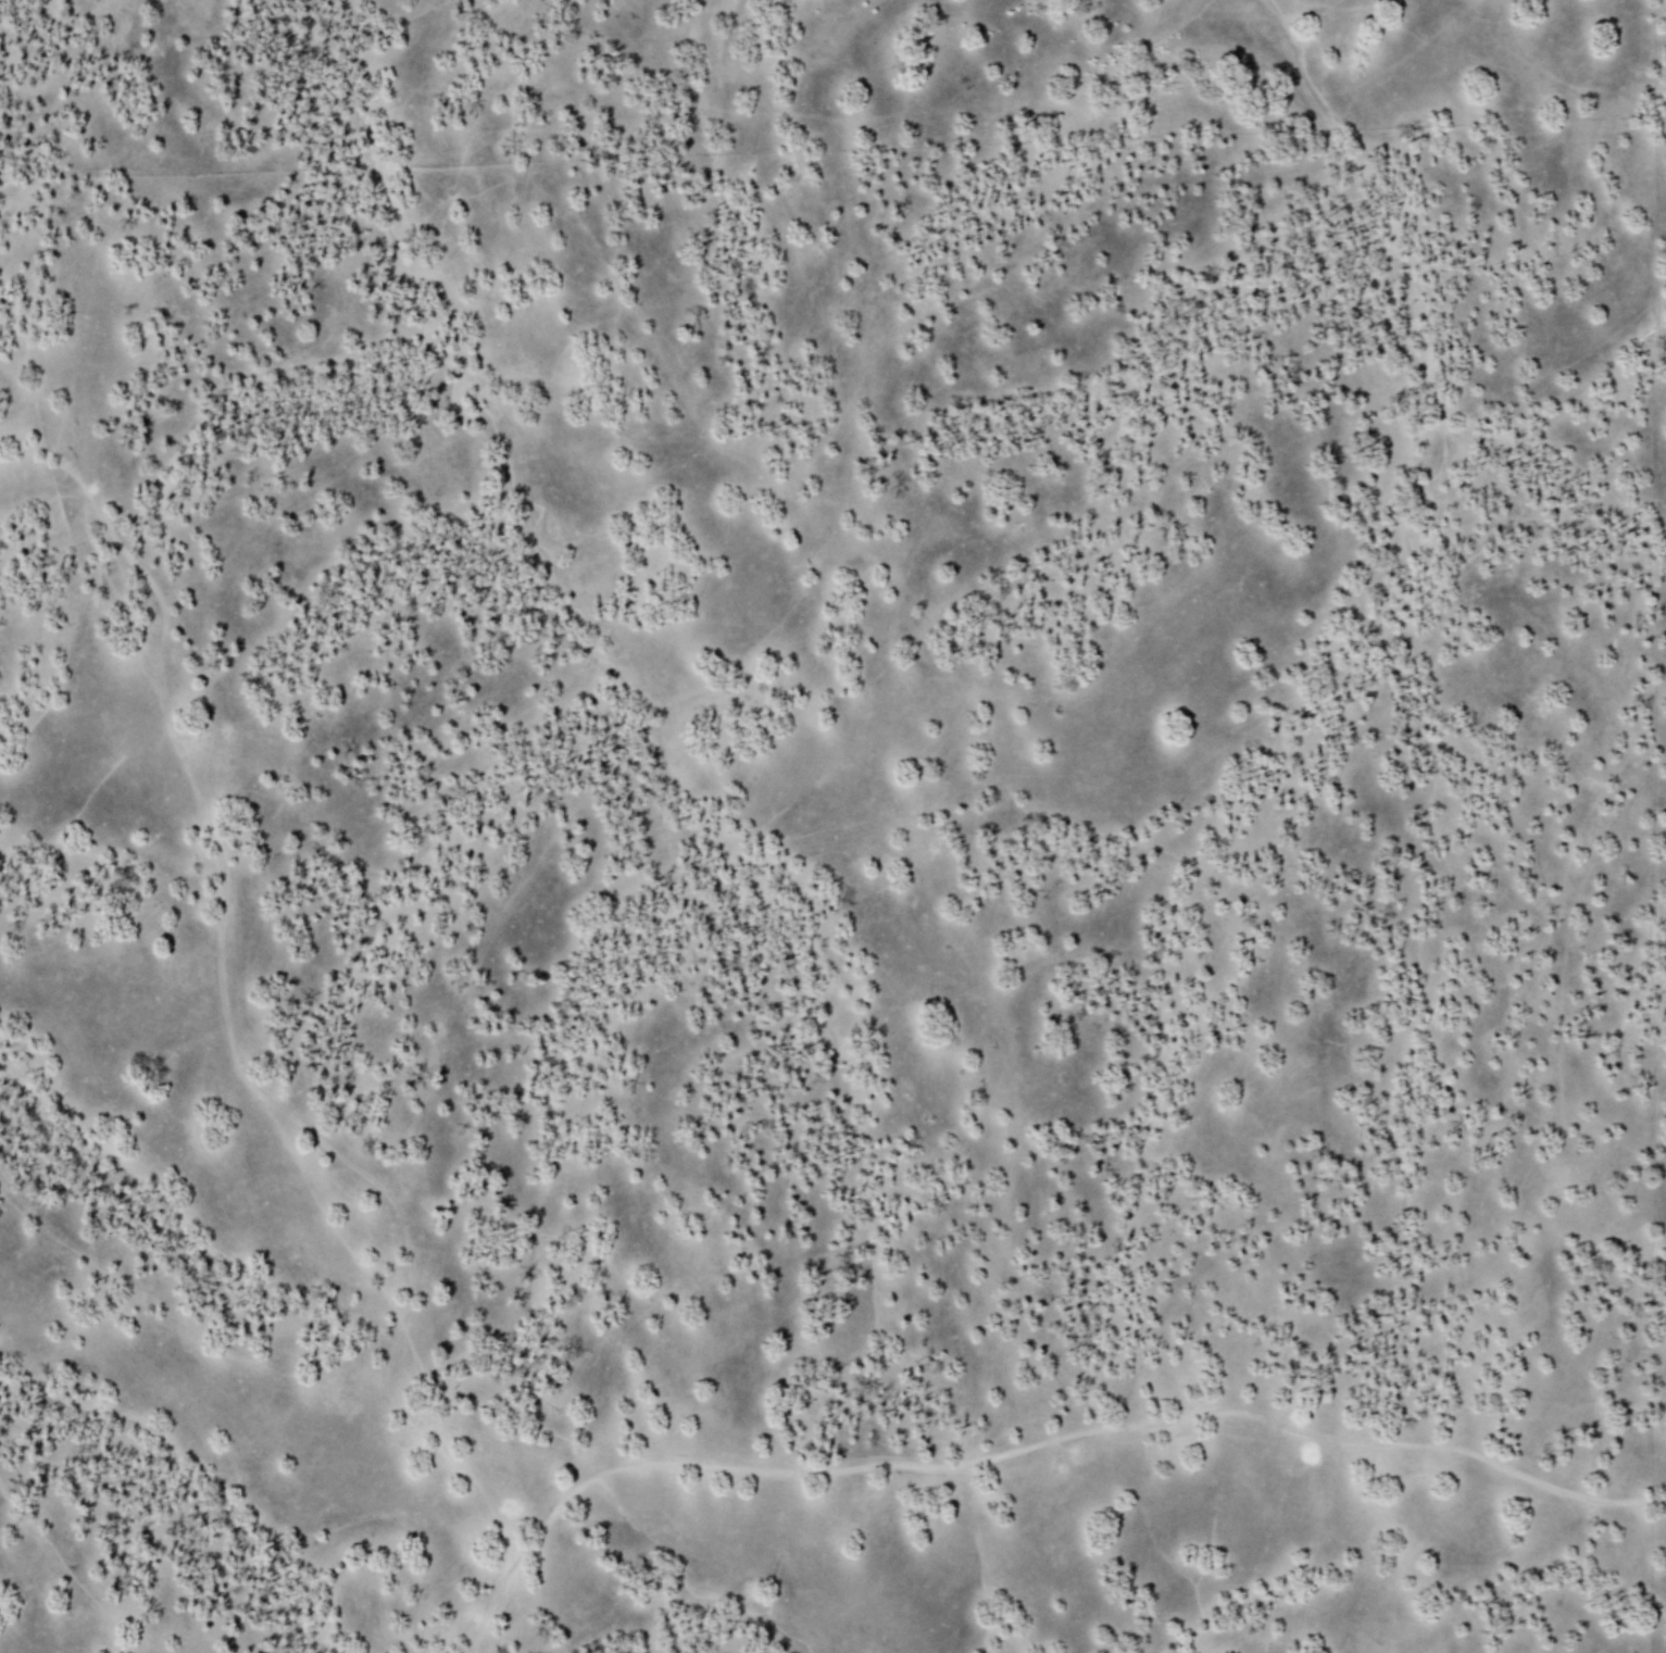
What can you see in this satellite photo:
road: (1025, 1448)

